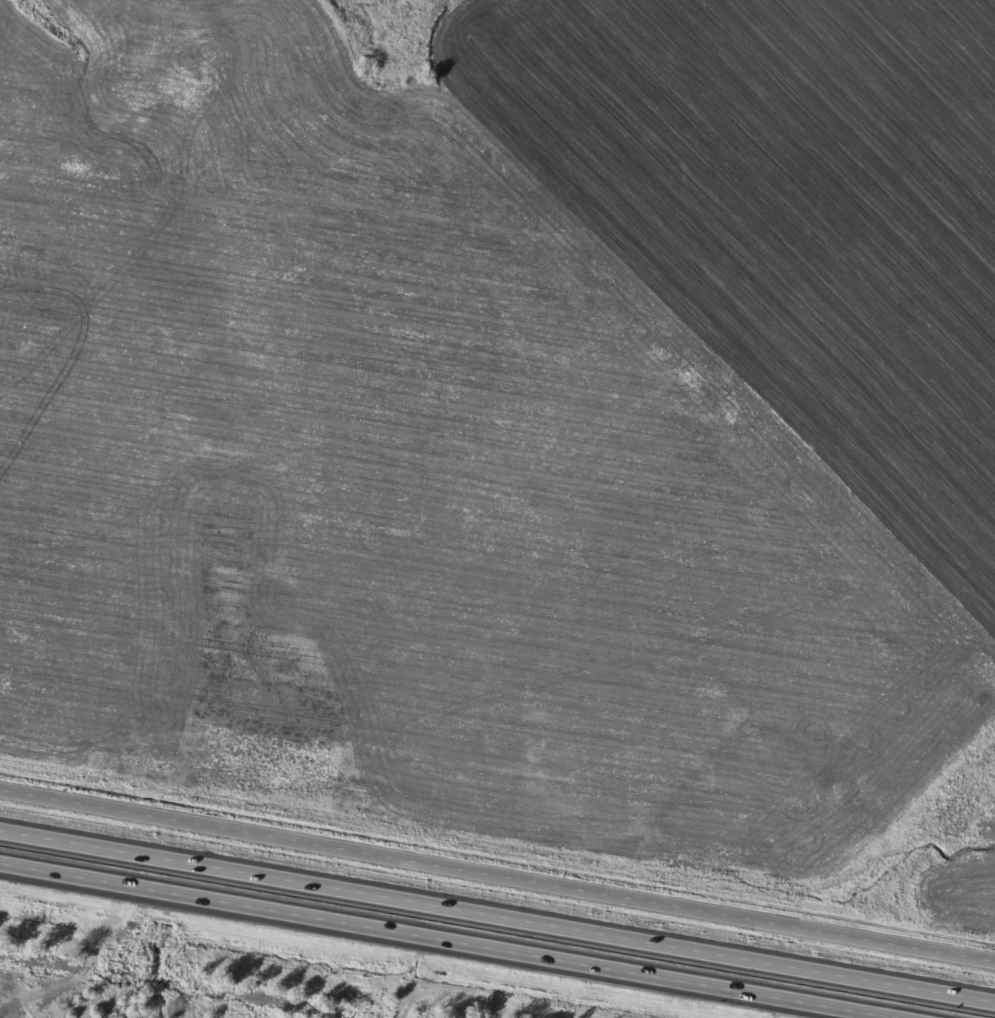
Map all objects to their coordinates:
road: (497, 873)
road: (497, 916)
road: (450, 940)
road: (860, 1014)

